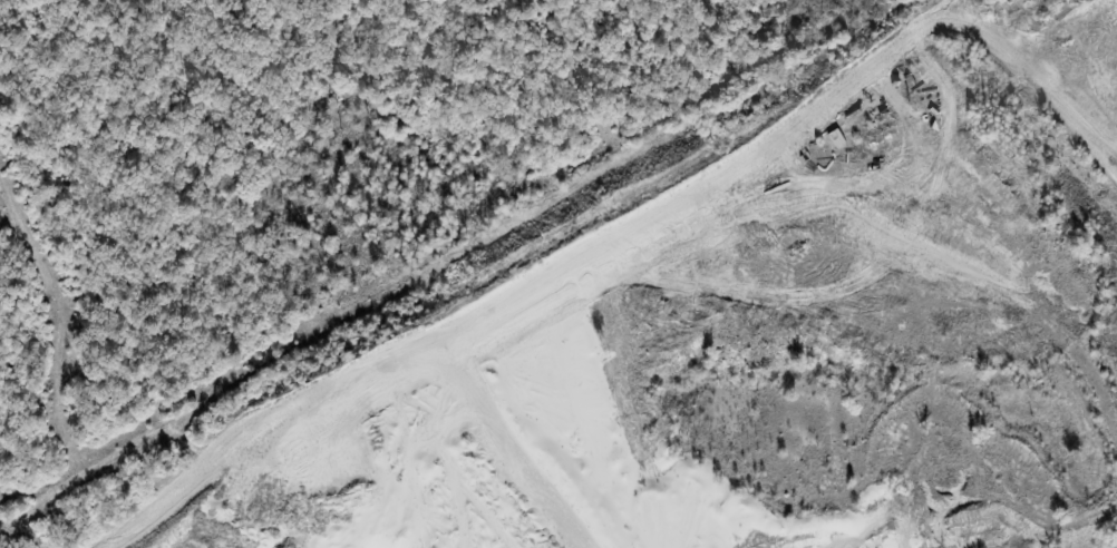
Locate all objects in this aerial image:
building: (841, 139)

